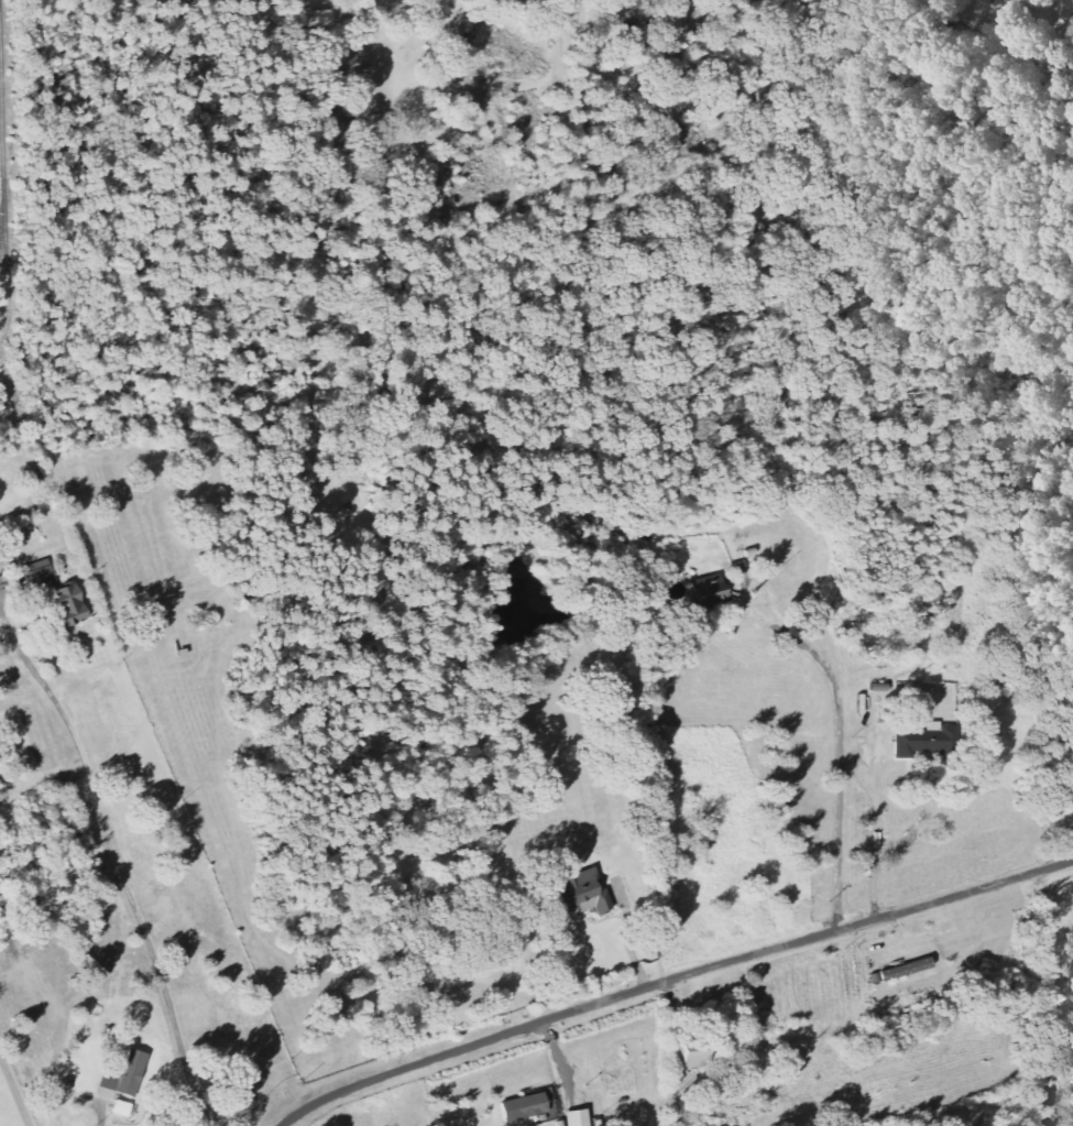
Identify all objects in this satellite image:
building: (1062, 9)
building: (41, 573)
building: (712, 591)
building: (73, 604)
road: (877, 832)
road: (118, 859)
building: (583, 893)
building: (906, 970)
road: (671, 979)
building: (697, 1056)
building: (129, 1074)
road: (13, 1091)
building: (529, 1106)
building: (125, 1108)
building: (581, 1117)

